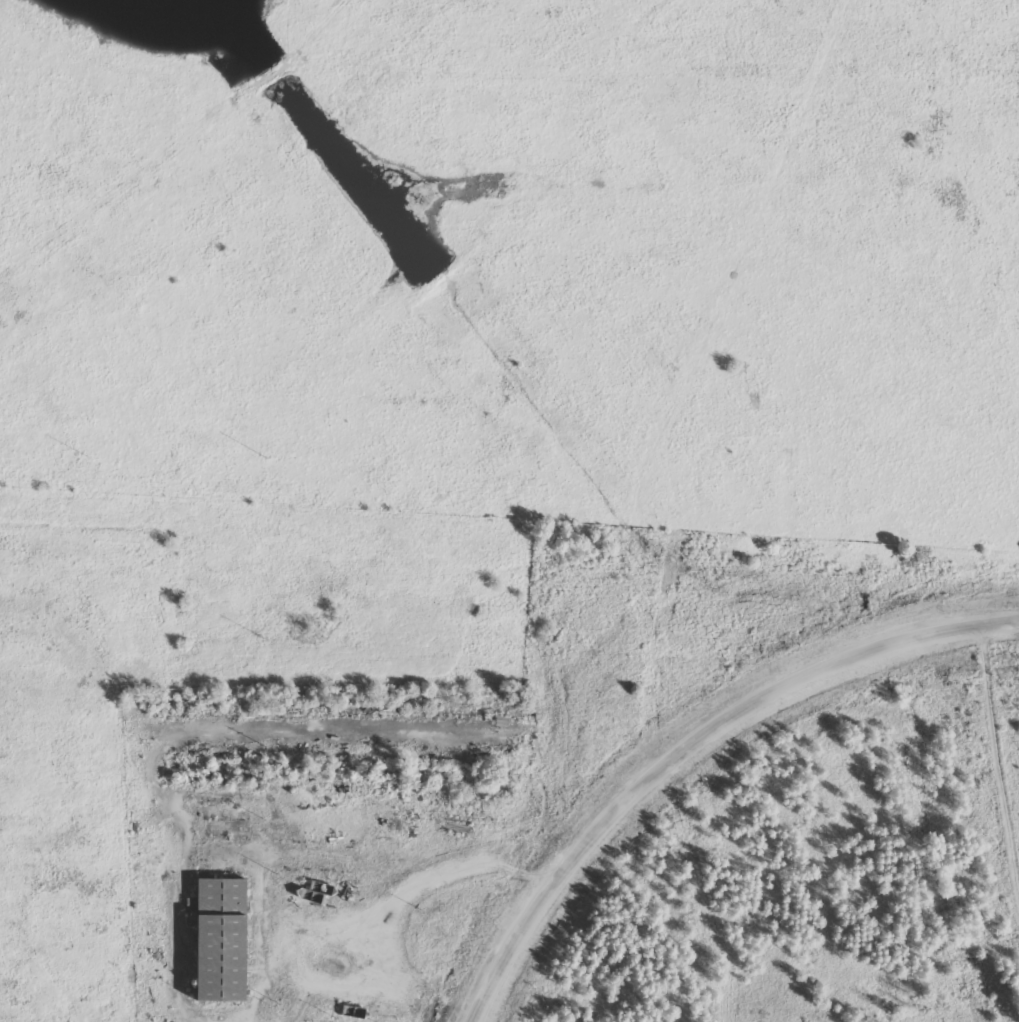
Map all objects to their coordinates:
road: (755, 200)
road: (686, 743)
road: (994, 786)
building: (215, 941)

